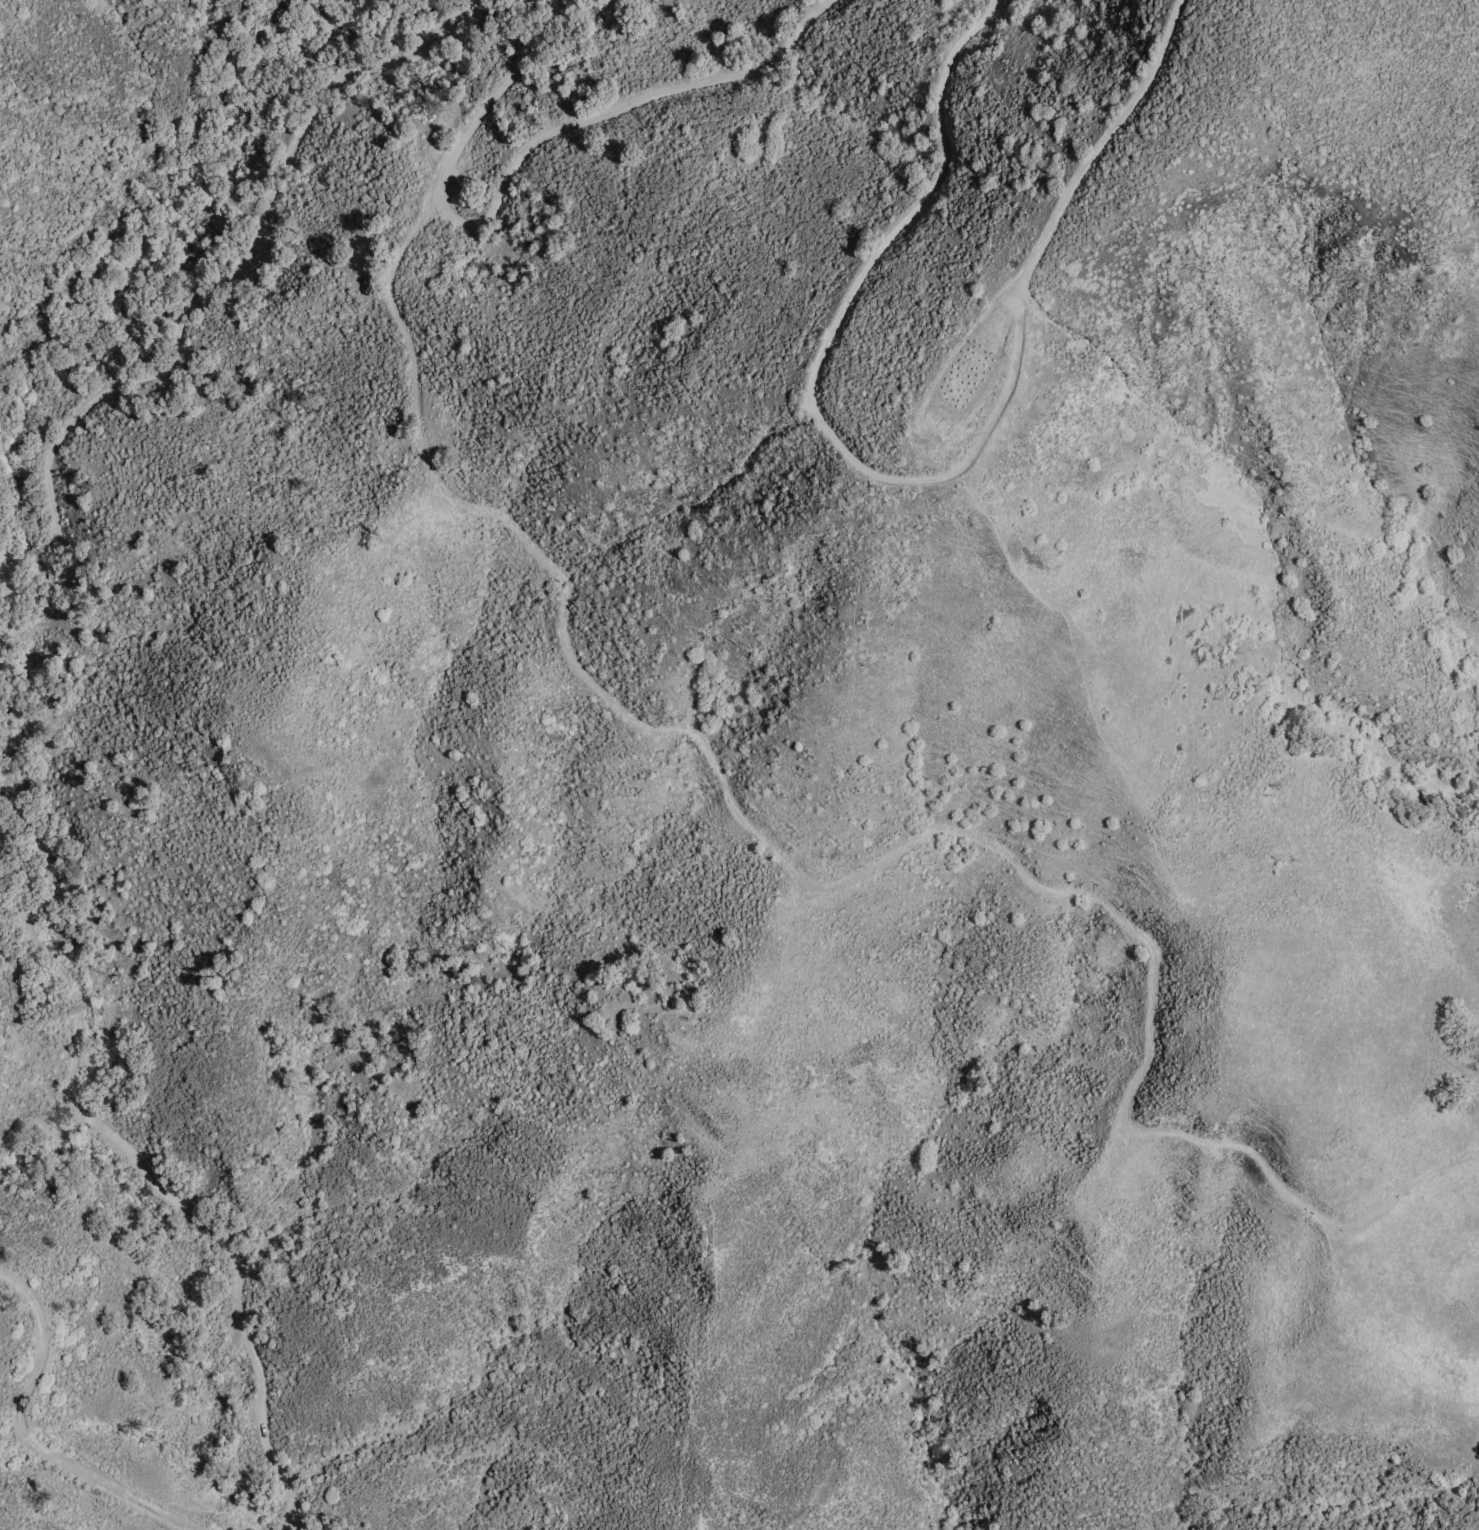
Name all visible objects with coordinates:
road: (444, 37)
road: (910, 466)
road: (853, 879)
road: (117, 1143)
road: (25, 1440)

